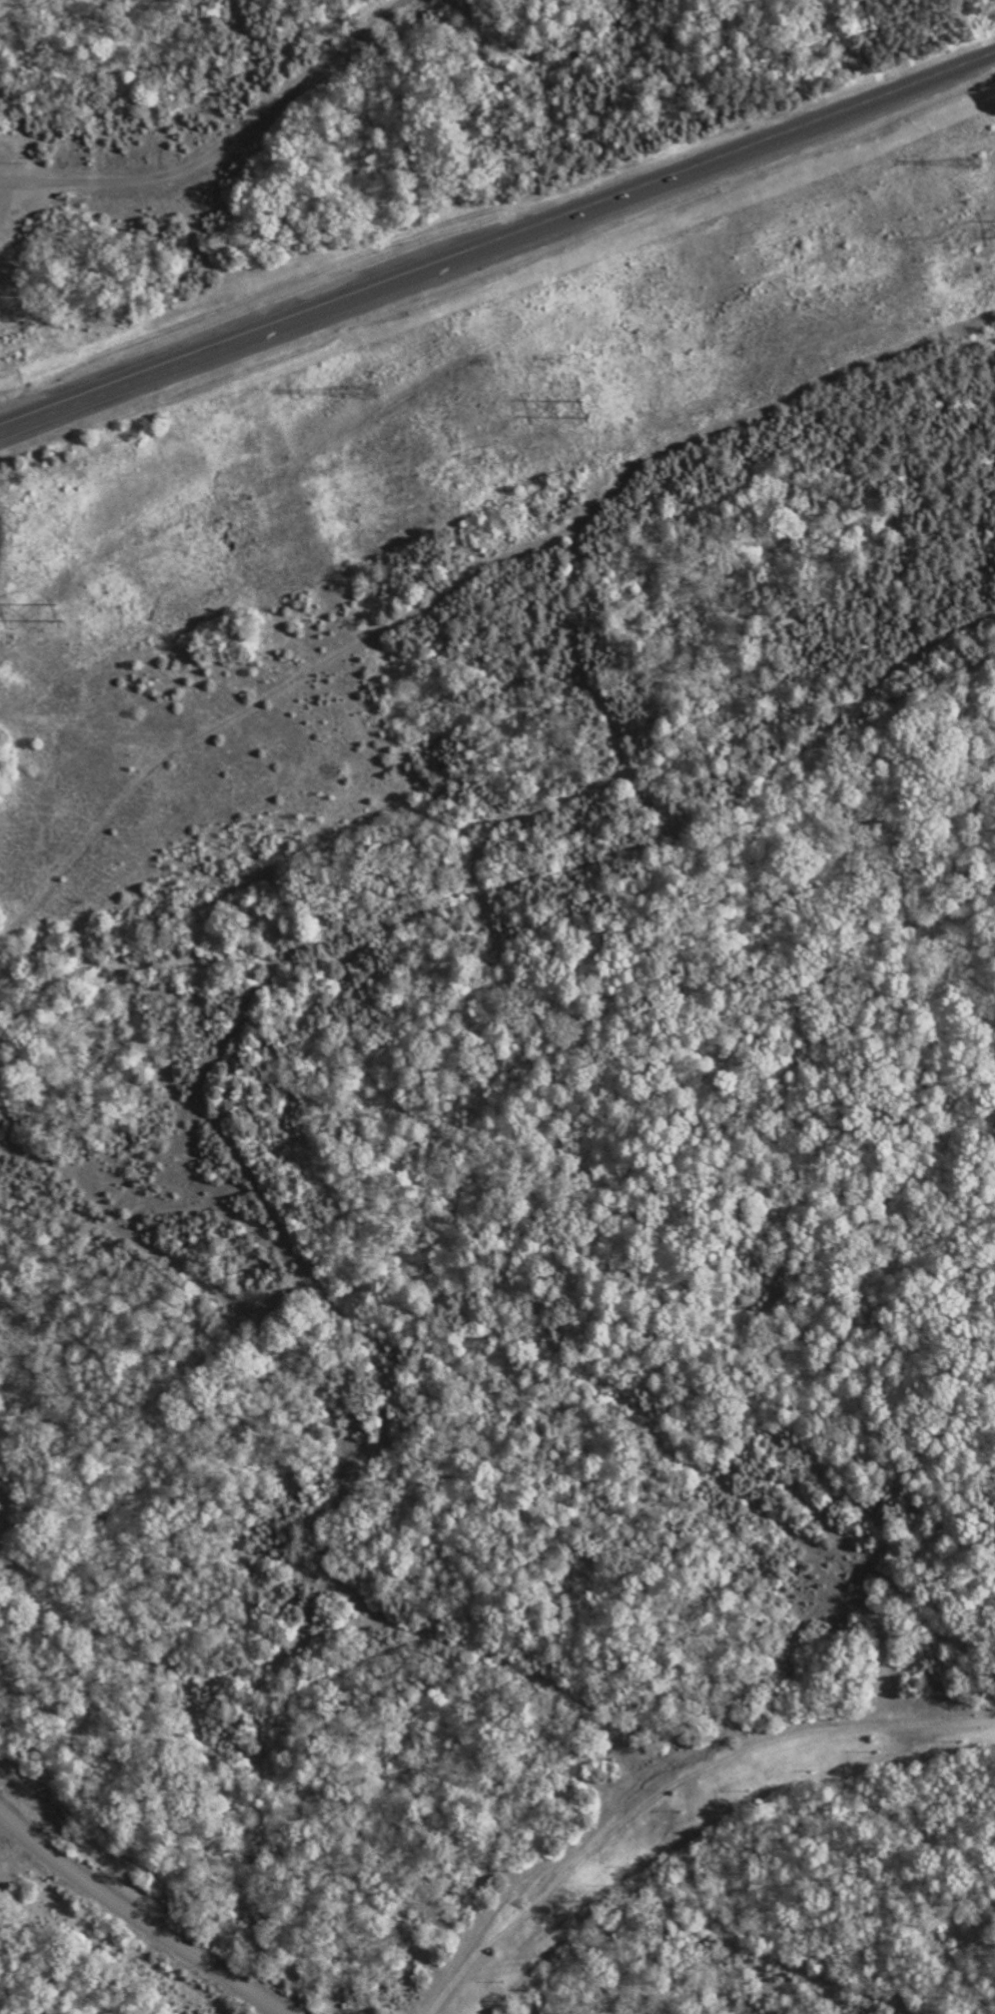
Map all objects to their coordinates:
power tower: (976, 160)
road: (497, 239)
power tower: (371, 388)
power tower: (588, 414)
power tower: (62, 617)
road: (139, 1918)

